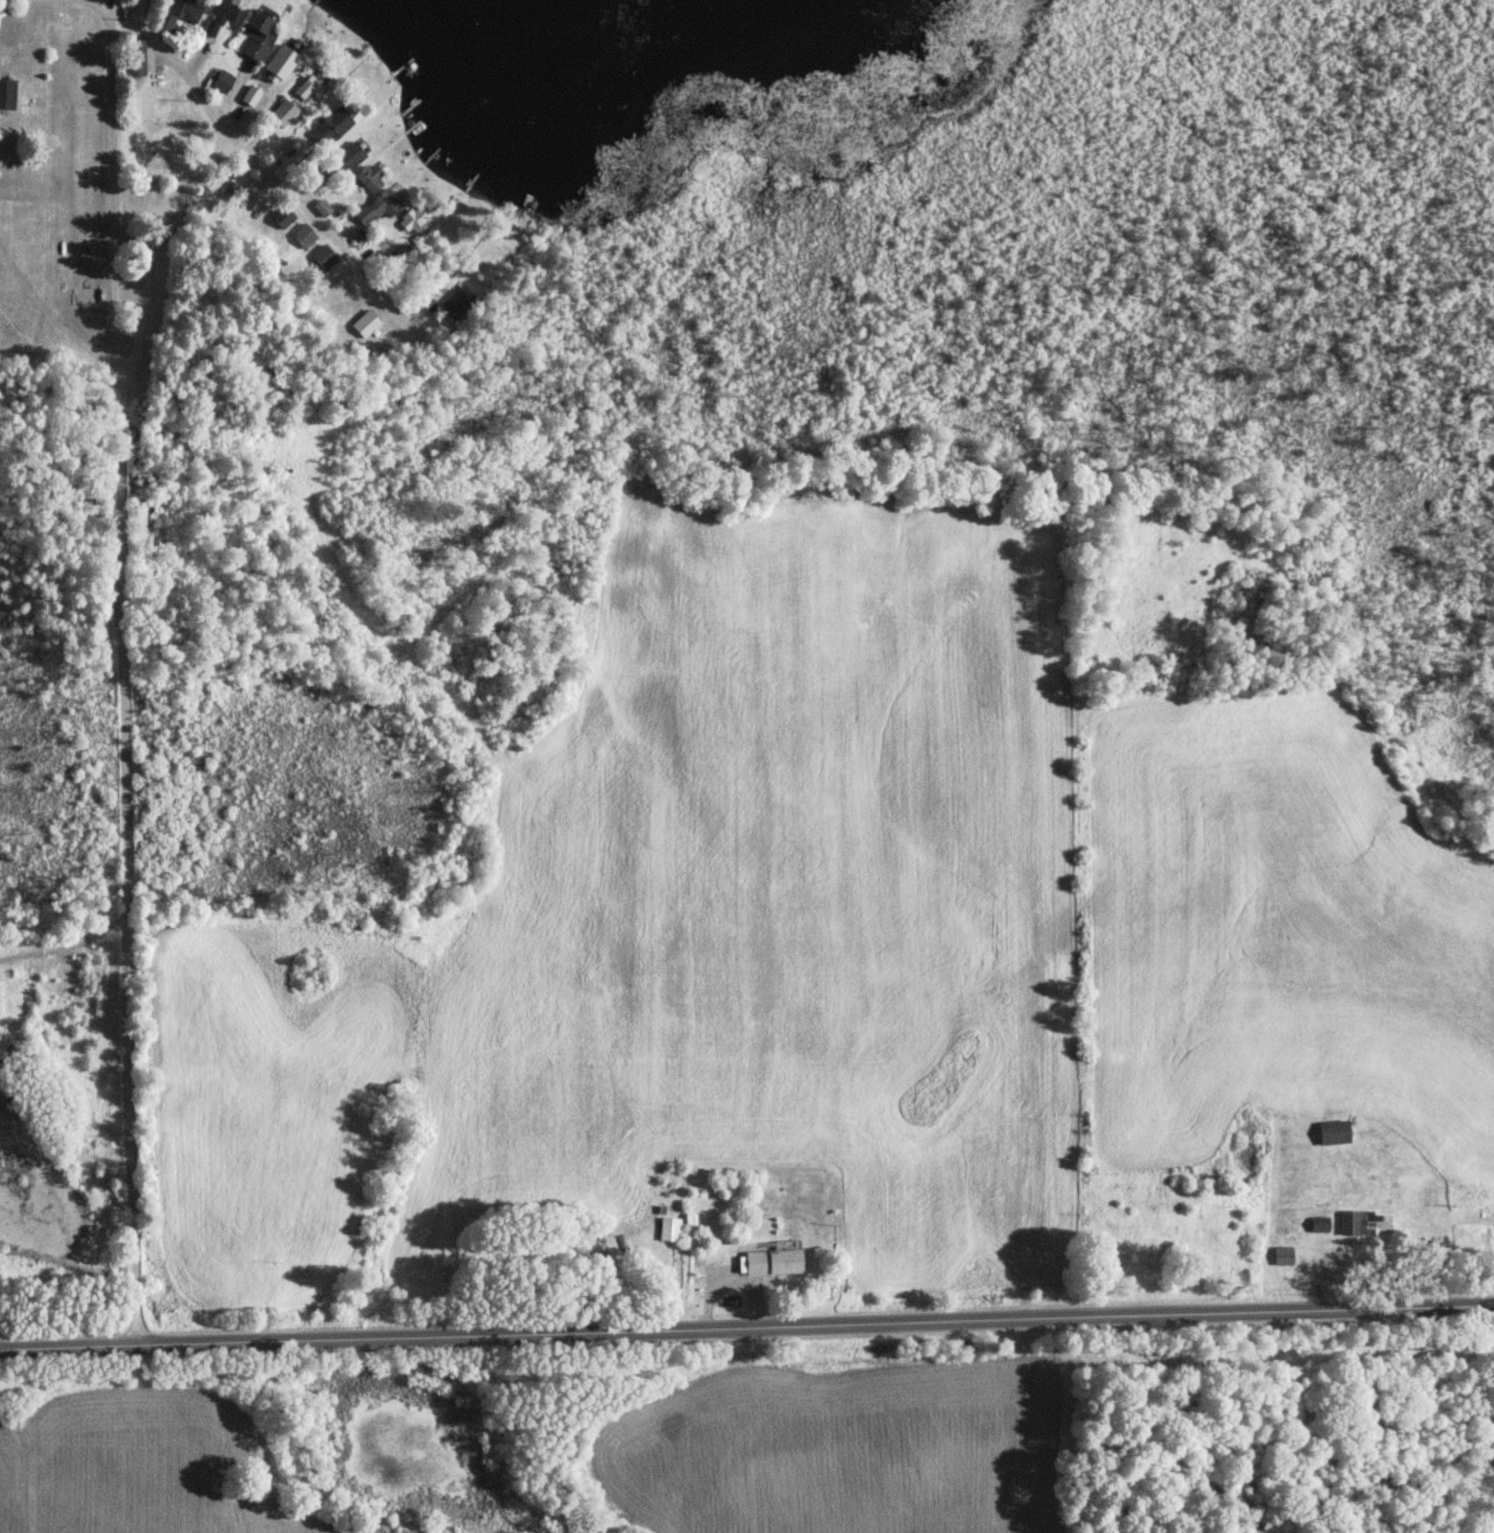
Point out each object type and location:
building: (224, 11)
building: (256, 35)
building: (284, 56)
building: (134, 57)
building: (221, 81)
building: (315, 89)
building: (6, 94)
building: (283, 113)
building: (330, 127)
road: (226, 146)
building: (345, 159)
building: (369, 178)
building: (254, 195)
building: (377, 210)
building: (304, 236)
building: (324, 259)
building: (457, 302)
building: (366, 324)
road: (125, 666)
building: (1332, 1133)
building: (1322, 1194)
building: (1364, 1224)
building: (1319, 1225)
building: (669, 1230)
building: (1282, 1256)
building: (770, 1262)
road: (746, 1326)

